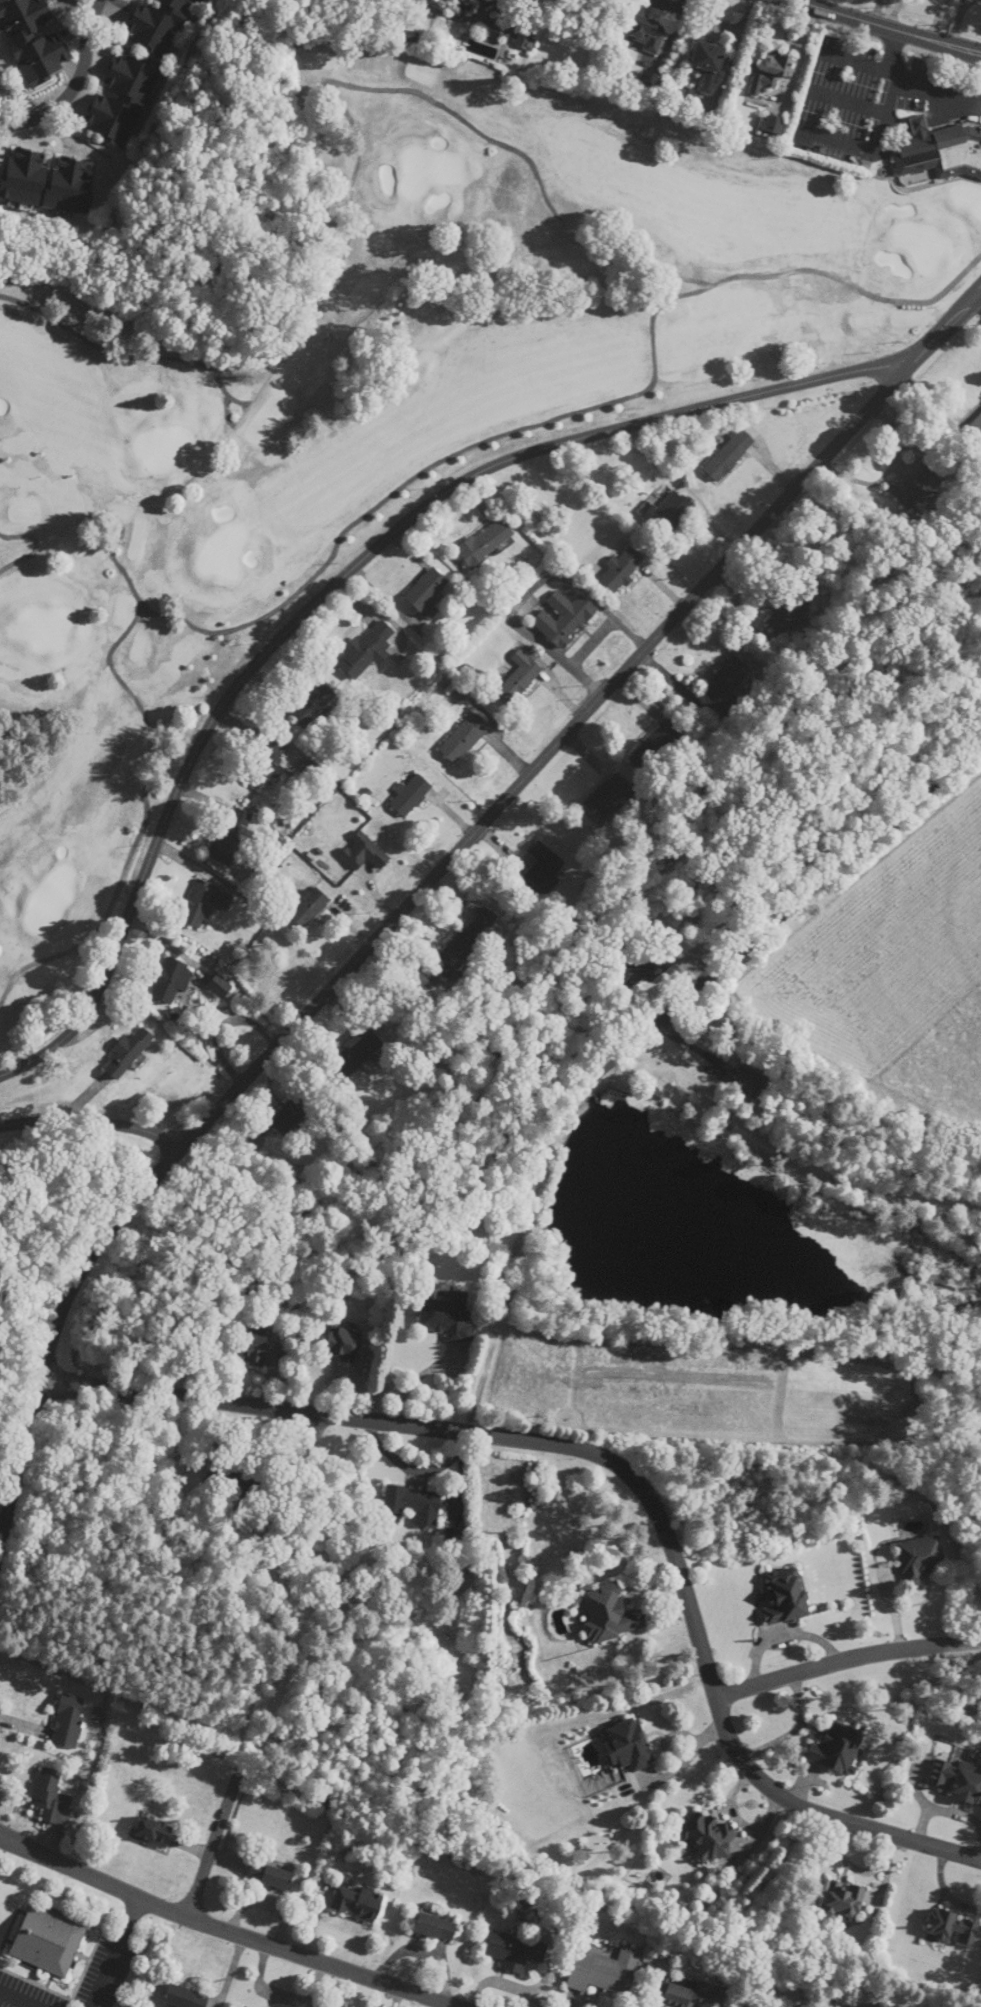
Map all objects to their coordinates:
building: (467, 5)
building: (157, 23)
road: (889, 26)
building: (648, 33)
building: (527, 36)
building: (33, 39)
building: (708, 64)
road: (823, 65)
road: (890, 68)
road: (75, 85)
building: (122, 98)
road: (853, 100)
building: (773, 125)
building: (940, 150)
building: (47, 181)
park: (410, 397)
building: (977, 424)
building: (729, 454)
building: (916, 488)
building: (668, 514)
building: (486, 542)
building: (622, 567)
road: (348, 574)
building: (427, 593)
building: (788, 612)
building: (565, 618)
building: (367, 649)
building: (519, 677)
building: (726, 680)
building: (312, 703)
building: (465, 738)
building: (666, 738)
building: (646, 754)
building: (266, 764)
building: (411, 794)
building: (606, 797)
building: (227, 845)
building: (364, 852)
building: (543, 866)
road: (435, 877)
building: (204, 903)
building: (309, 906)
building: (466, 941)
crop: (896, 960)
building: (644, 961)
building: (171, 979)
building: (219, 986)
road: (641, 1038)
building: (128, 1051)
building: (358, 1053)
building: (747, 1082)
building: (288, 1116)
road: (92, 1124)
building: (447, 1316)
building: (343, 1343)
building: (252, 1345)
road: (255, 1407)
building: (411, 1505)
road: (1, 1524)
building: (920, 1559)
building: (785, 1596)
building: (610, 1613)
road: (846, 1656)
road: (705, 1657)
building: (68, 1720)
building: (628, 1745)
building: (839, 1748)
building: (956, 1779)
building: (48, 1793)
building: (151, 1831)
building: (707, 1836)
road: (215, 1839)
building: (270, 1875)
building: (845, 1900)
building: (358, 1903)
building: (436, 1927)
road: (227, 1928)
building: (954, 1928)
building: (48, 1941)
road: (116, 1951)
building: (515, 1951)
building: (604, 1970)
building: (687, 1996)
building: (184, 1997)
road: (19, 1998)
building: (242, 2006)

